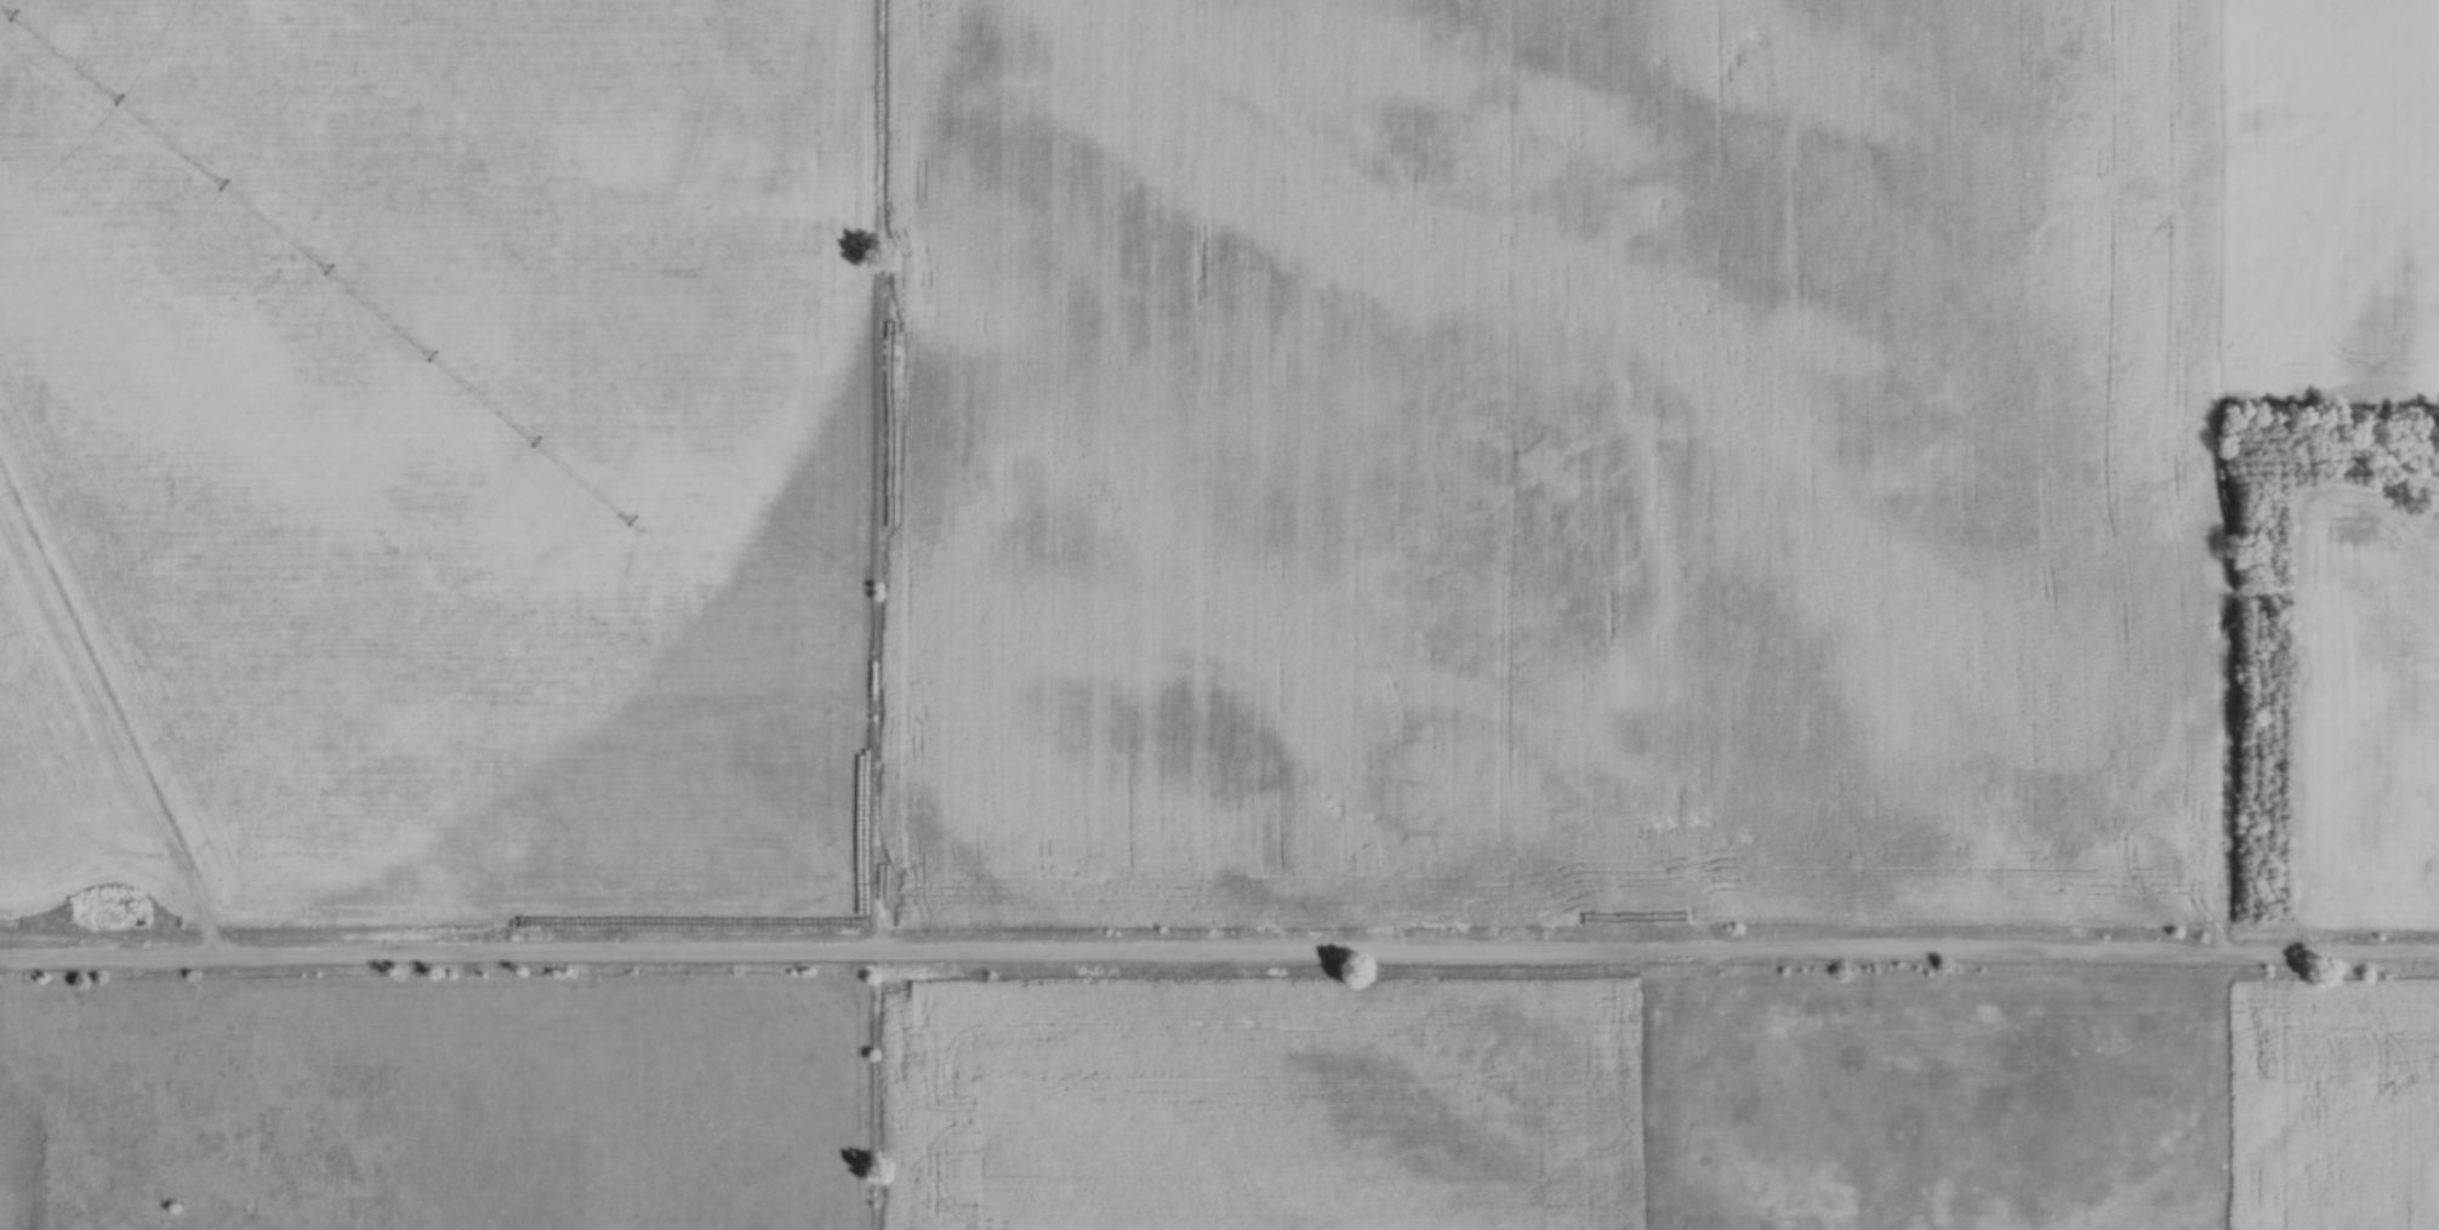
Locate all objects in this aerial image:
building: (2438, 592)
road: (2223, 727)
road: (1219, 955)

